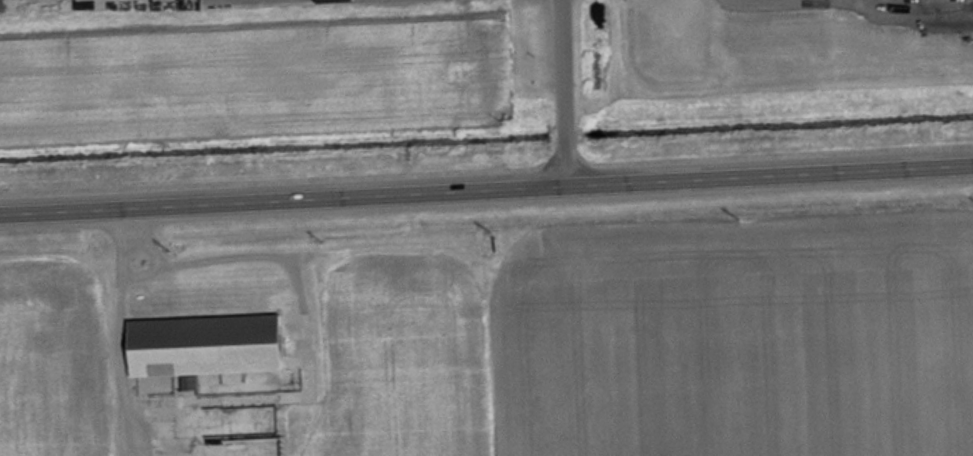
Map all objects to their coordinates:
road: (560, 65)
road: (564, 138)
road: (565, 165)
road: (486, 187)
building: (197, 346)

